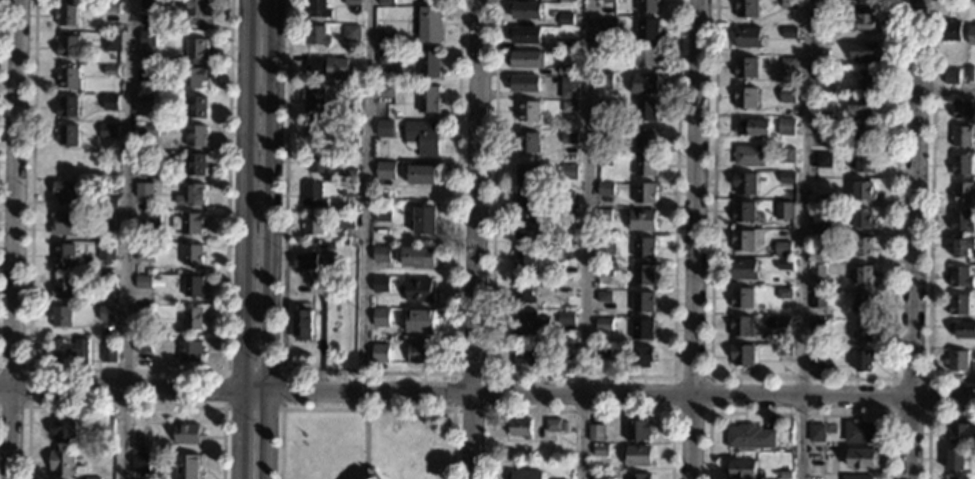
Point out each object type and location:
building: (566, 1)
building: (607, 1)
building: (867, 1)
building: (350, 2)
building: (385, 2)
building: (788, 4)
building: (148, 5)
building: (648, 5)
building: (822, 5)
building: (112, 7)
building: (193, 7)
building: (745, 8)
building: (316, 9)
building: (524, 10)
building: (67, 16)
building: (565, 20)
building: (823, 22)
building: (862, 22)
building: (607, 24)
building: (429, 25)
building: (648, 29)
building: (950, 30)
building: (790, 32)
building: (350, 33)
building: (315, 35)
building: (972, 35)
building: (523, 36)
building: (147, 38)
building: (746, 38)
building: (384, 39)
building: (111, 42)
building: (565, 46)
building: (68, 48)
building: (196, 50)
building: (606, 51)
building: (863, 51)
building: (647, 56)
building: (385, 57)
building: (525, 60)
building: (788, 63)
building: (428, 65)
building: (327, 66)
building: (745, 68)
building: (111, 70)
building: (565, 70)
building: (970, 73)
building: (148, 75)
building: (821, 75)
building: (950, 76)
building: (192, 78)
building: (69, 79)
building: (868, 79)
building: (604, 81)
building: (523, 83)
building: (644, 85)
road: (946, 89)
building: (326, 90)
building: (569, 92)
building: (384, 93)
building: (787, 95)
building: (745, 98)
building: (427, 99)
building: (313, 100)
building: (146, 101)
building: (110, 102)
building: (861, 105)
building: (606, 106)
building: (67, 107)
building: (196, 107)
building: (570, 107)
building: (962, 108)
building: (527, 111)
building: (647, 111)
building: (349, 112)
building: (823, 117)
building: (785, 126)
building: (752, 128)
building: (383, 129)
building: (150, 131)
building: (823, 131)
building: (110, 132)
building: (313, 133)
building: (866, 134)
building: (68, 135)
building: (605, 135)
building: (196, 136)
building: (422, 137)
building: (961, 137)
building: (569, 138)
building: (645, 138)
building: (349, 142)
building: (527, 143)
building: (786, 155)
building: (749, 156)
building: (146, 157)
building: (605, 161)
building: (824, 161)
building: (315, 162)
building: (861, 163)
building: (195, 165)
building: (960, 165)
building: (645, 166)
building: (384, 170)
building: (569, 172)
building: (526, 174)
building: (348, 175)
building: (420, 175)
building: (787, 177)
building: (744, 183)
road: (676, 188)
building: (145, 189)
building: (605, 189)
building: (348, 190)
building: (645, 192)
building: (67, 193)
building: (863, 193)
building: (962, 193)
building: (193, 195)
building: (311, 195)
road: (365, 195)
road: (245, 196)
road: (272, 196)
building: (566, 197)
building: (525, 202)
building: (823, 202)
building: (109, 203)
building: (784, 211)
building: (743, 212)
building: (382, 213)
road: (929, 213)
building: (602, 215)
building: (862, 219)
building: (106, 220)
building: (642, 221)
building: (345, 222)
building: (423, 222)
building: (961, 222)
building: (69, 223)
building: (153, 223)
building: (188, 224)
building: (311, 224)
building: (566, 226)
building: (823, 228)
building: (527, 230)
road: (16, 239)
road: (126, 239)
road: (474, 239)
road: (587, 239)
road: (694, 239)
road: (807, 239)
road: (916, 239)
building: (742, 240)
building: (604, 246)
building: (864, 247)
building: (962, 247)
building: (643, 248)
building: (782, 250)
building: (107, 253)
building: (145, 253)
building: (380, 255)
building: (565, 255)
building: (193, 256)
building: (63, 257)
building: (417, 257)
building: (524, 258)
building: (822, 259)
building: (304, 261)
building: (784, 266)
building: (603, 270)
building: (743, 270)
building: (818, 273)
building: (643, 275)
building: (864, 275)
road: (491, 278)
building: (960, 278)
building: (108, 282)
building: (143, 282)
building: (379, 285)
building: (64, 287)
building: (194, 287)
building: (418, 290)
building: (524, 291)
building: (783, 293)
building: (603, 297)
building: (740, 297)
building: (817, 301)
building: (643, 302)
building: (862, 303)
building: (958, 305)
building: (108, 313)
building: (143, 315)
building: (61, 317)
building: (379, 317)
building: (566, 317)
building: (193, 319)
building: (418, 321)
building: (528, 323)
building: (603, 324)
building: (301, 326)
building: (740, 327)
building: (817, 327)
building: (781, 329)
building: (643, 330)
building: (962, 330)
building: (863, 332)
building: (143, 346)
building: (70, 350)
building: (190, 352)
building: (602, 352)
building: (783, 352)
building: (109, 354)
building: (380, 354)
building: (419, 354)
building: (741, 355)
building: (528, 356)
building: (640, 357)
building: (817, 357)
building: (864, 360)
building: (957, 360)
road: (127, 370)
road: (224, 371)
road: (368, 372)
road: (489, 375)
road: (709, 376)
road: (802, 377)
road: (927, 380)
road: (28, 387)
road: (120, 392)
road: (254, 392)
road: (621, 394)
road: (125, 407)
road: (365, 409)
road: (580, 411)
road: (800, 413)
road: (927, 423)
building: (105, 426)
building: (555, 426)
building: (520, 428)
building: (62, 431)
building: (638, 431)
building: (860, 432)
building: (594, 433)
building: (816, 433)
building: (185, 434)
building: (958, 434)
road: (266, 435)
road: (240, 436)
building: (749, 437)
road: (365, 440)
building: (138, 442)
building: (600, 453)
building: (637, 456)
building: (863, 458)
building: (954, 459)
building: (140, 462)
building: (62, 463)
building: (187, 466)
building: (740, 470)
building: (524, 474)
building: (782, 474)
building: (371, 475)
building: (600, 476)
building: (638, 476)
building: (855, 477)
building: (90, 478)
building: (958, 478)

